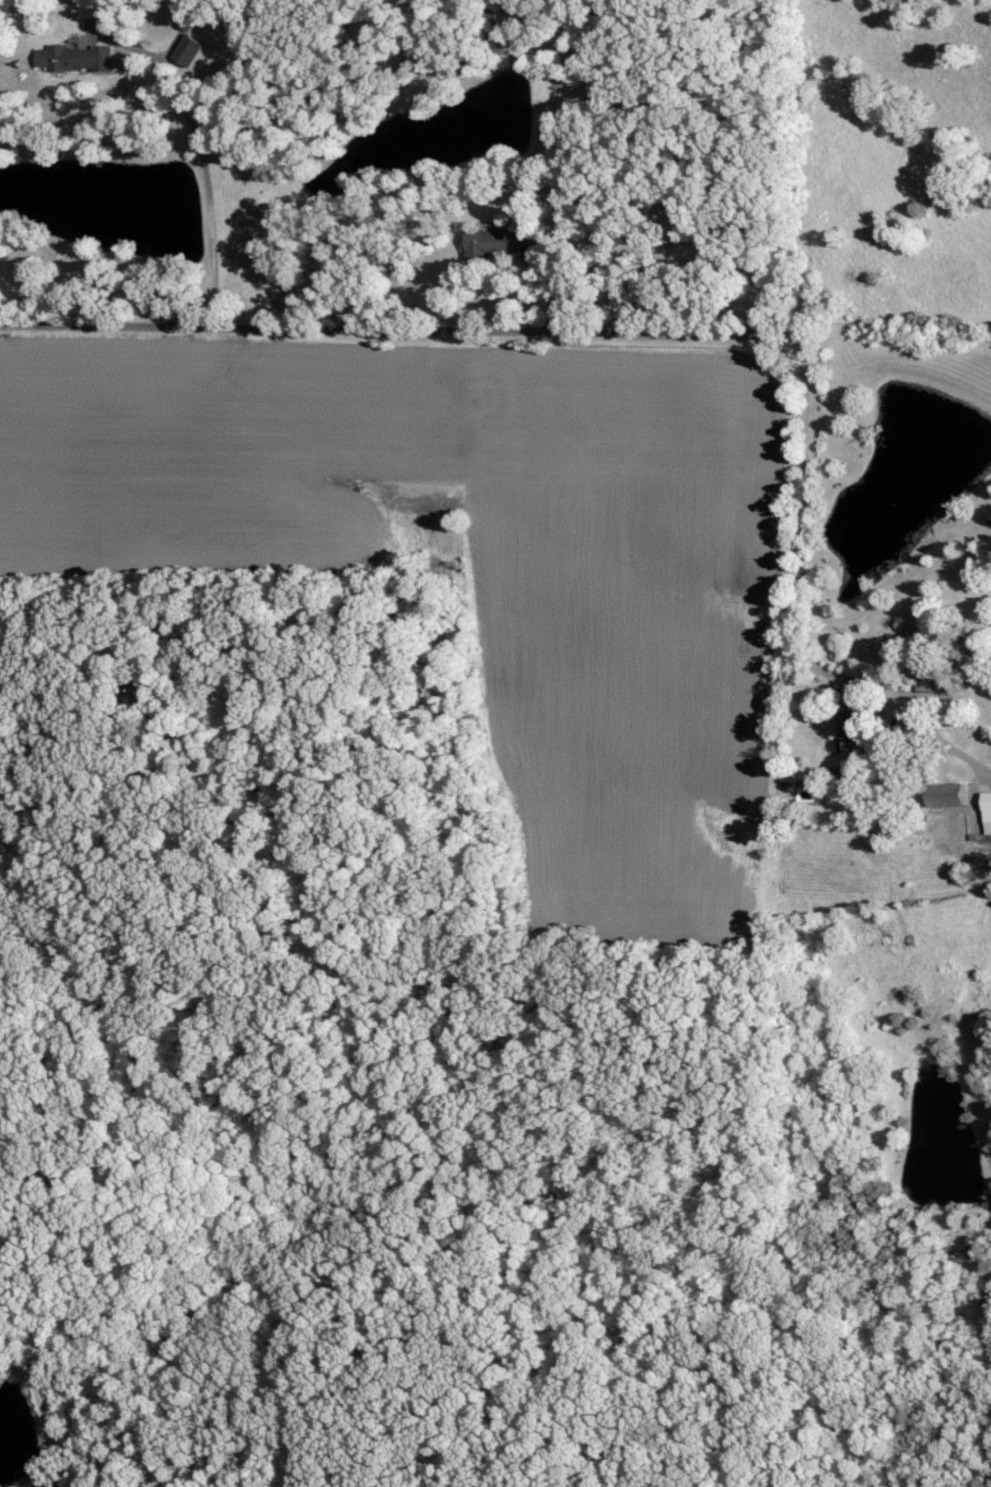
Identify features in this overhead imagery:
building: (79, 59)
road: (198, 180)
road: (635, 331)
building: (853, 718)
building: (956, 796)
building: (989, 811)

